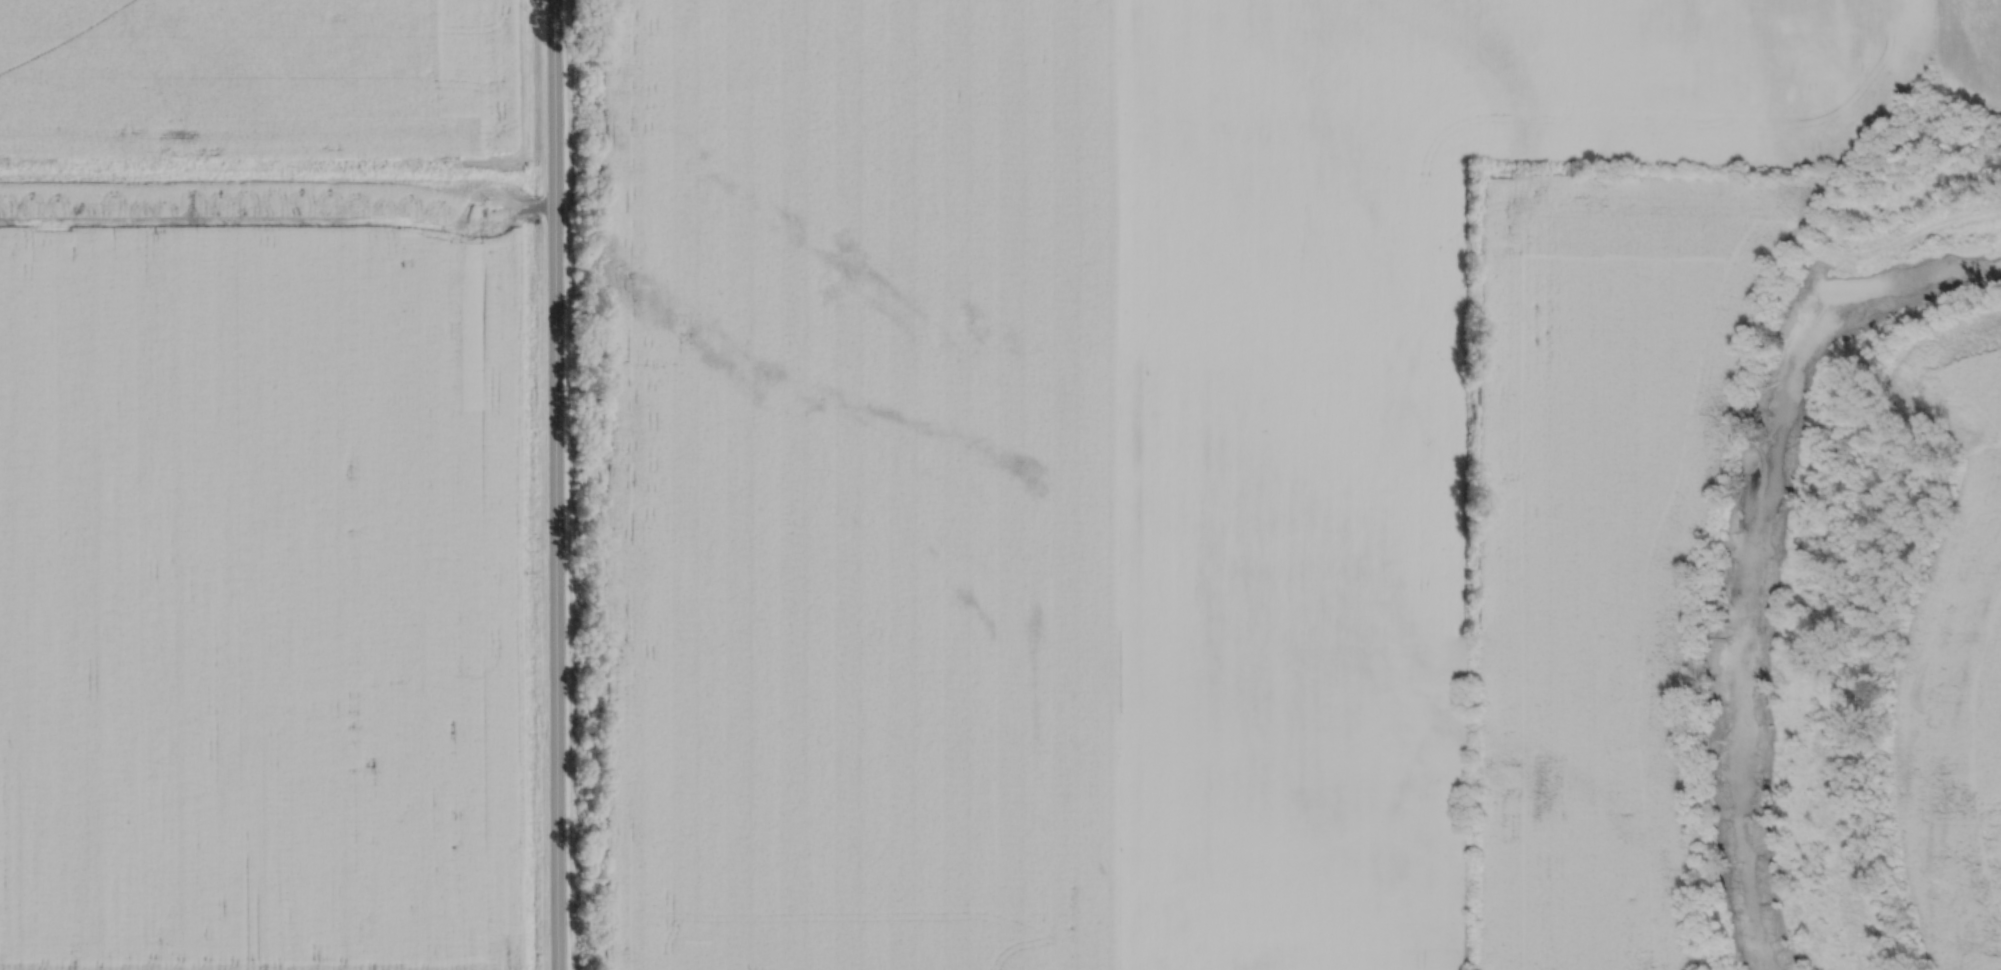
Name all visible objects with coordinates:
road: (556, 485)

